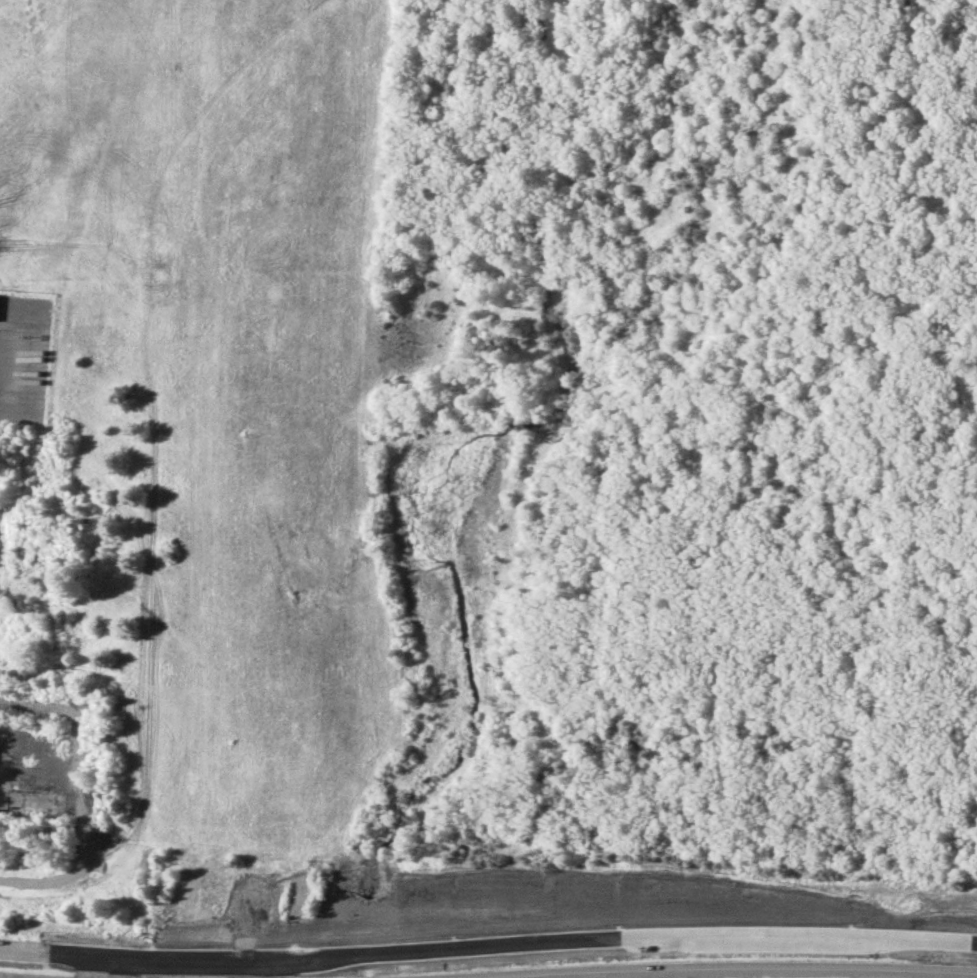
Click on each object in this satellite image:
building: (5, 763)
road: (79, 955)
road: (752, 969)
road: (659, 974)
road: (922, 976)
road: (2, 977)

